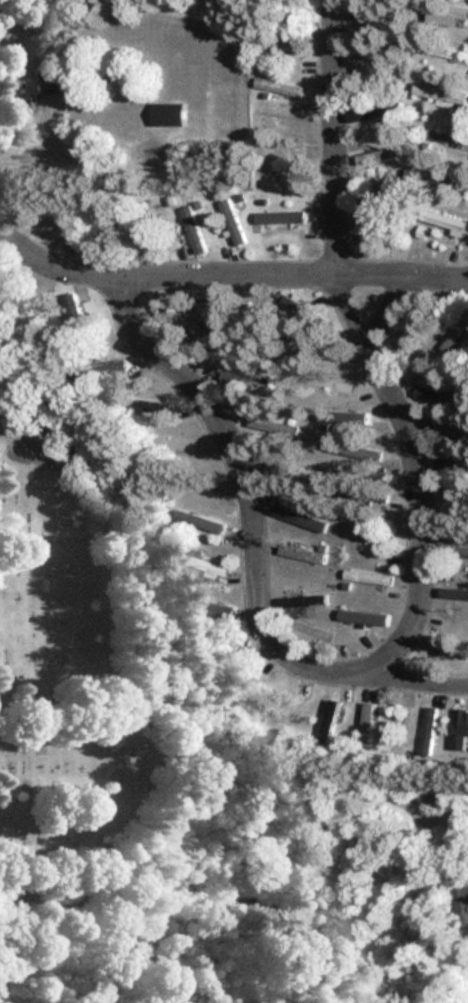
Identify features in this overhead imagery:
building: (453, 15)
building: (366, 28)
building: (445, 51)
building: (276, 87)
building: (36, 89)
building: (439, 94)
building: (166, 114)
road: (332, 136)
building: (444, 136)
building: (438, 176)
building: (277, 186)
building: (375, 197)
building: (276, 216)
building: (145, 221)
building: (444, 221)
building: (231, 222)
building: (191, 230)
road: (233, 272)
building: (75, 310)
building: (201, 323)
building: (408, 329)
building: (456, 331)
building: (295, 341)
building: (238, 379)
building: (340, 387)
building: (360, 452)
road: (409, 477)
road: (243, 489)
building: (452, 512)
building: (297, 517)
park: (54, 546)
building: (455, 550)
building: (367, 577)
building: (455, 592)
building: (301, 600)
building: (356, 616)
road: (412, 681)
building: (366, 726)
building: (427, 731)
building: (460, 733)
building: (461, 902)

